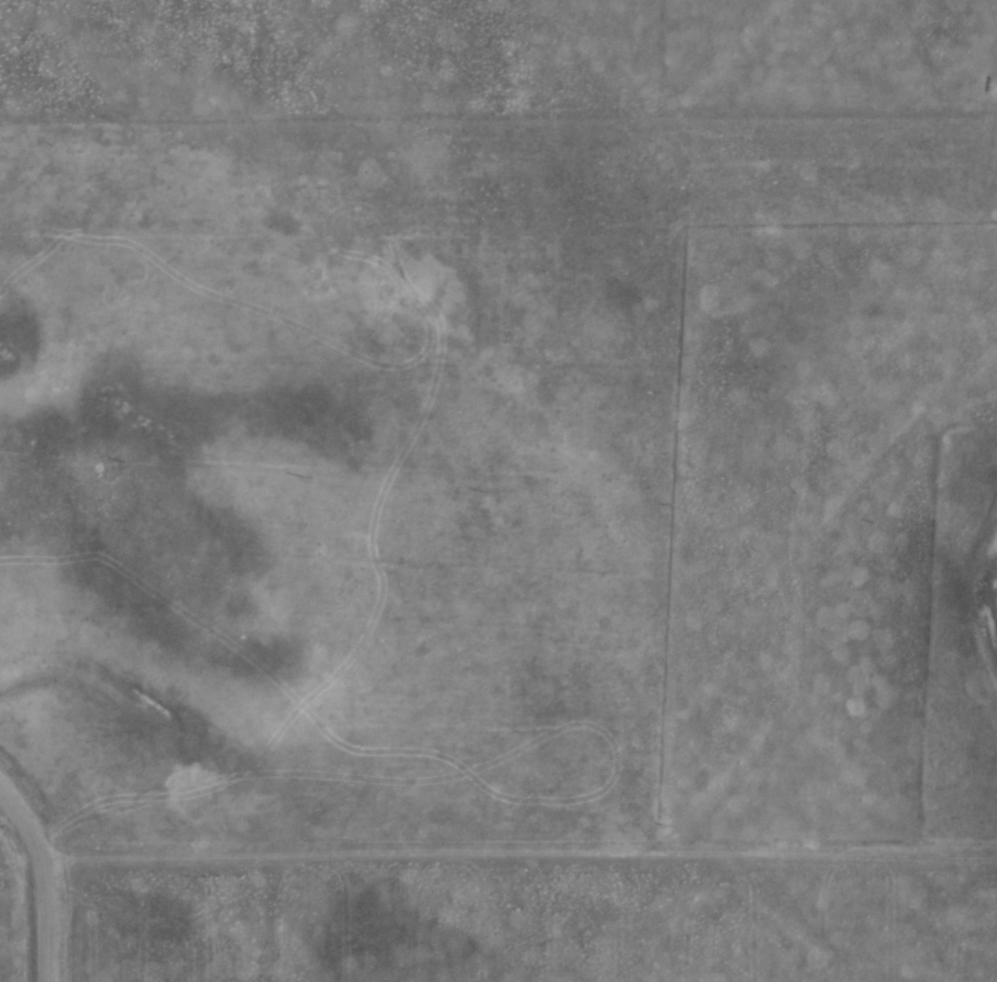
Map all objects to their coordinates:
road: (43, 881)

